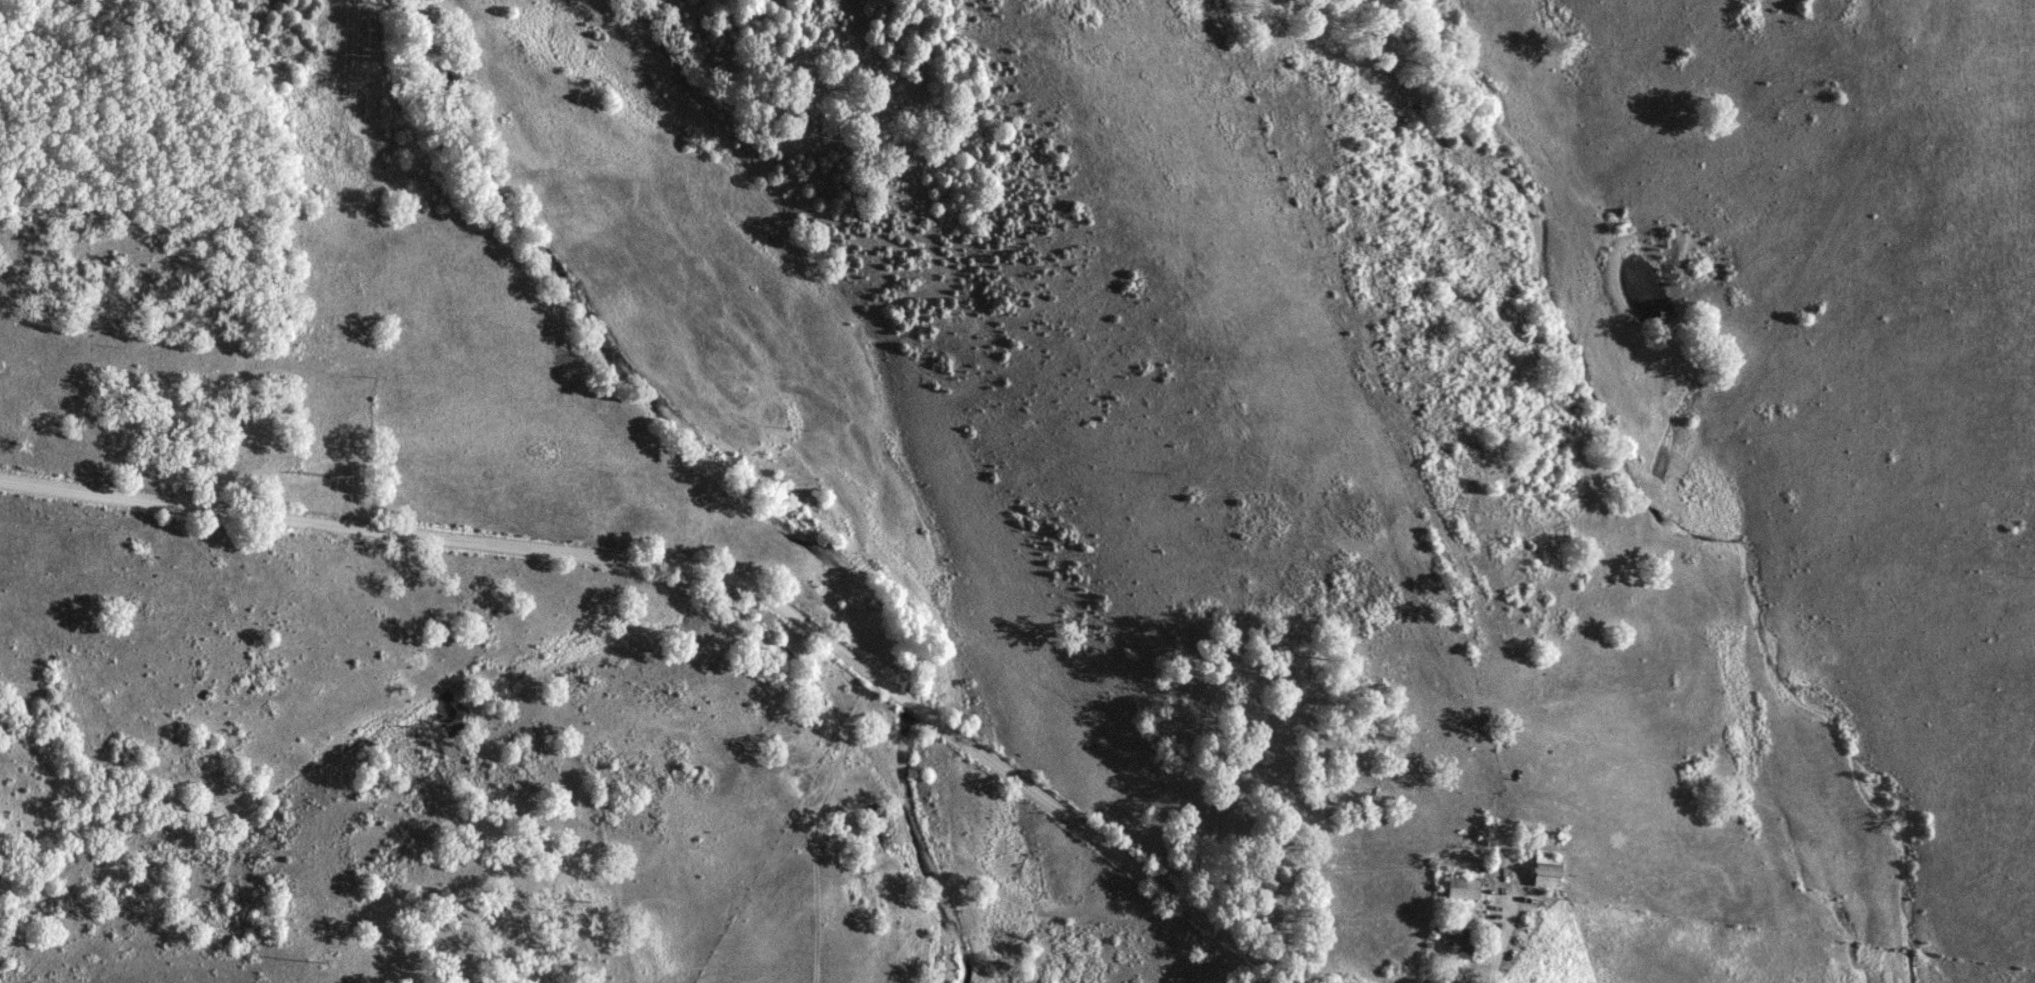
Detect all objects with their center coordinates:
power tower: (354, 56)
power tower: (336, 478)
road: (716, 570)
building: (1548, 875)
building: (1465, 890)
road: (1508, 934)

